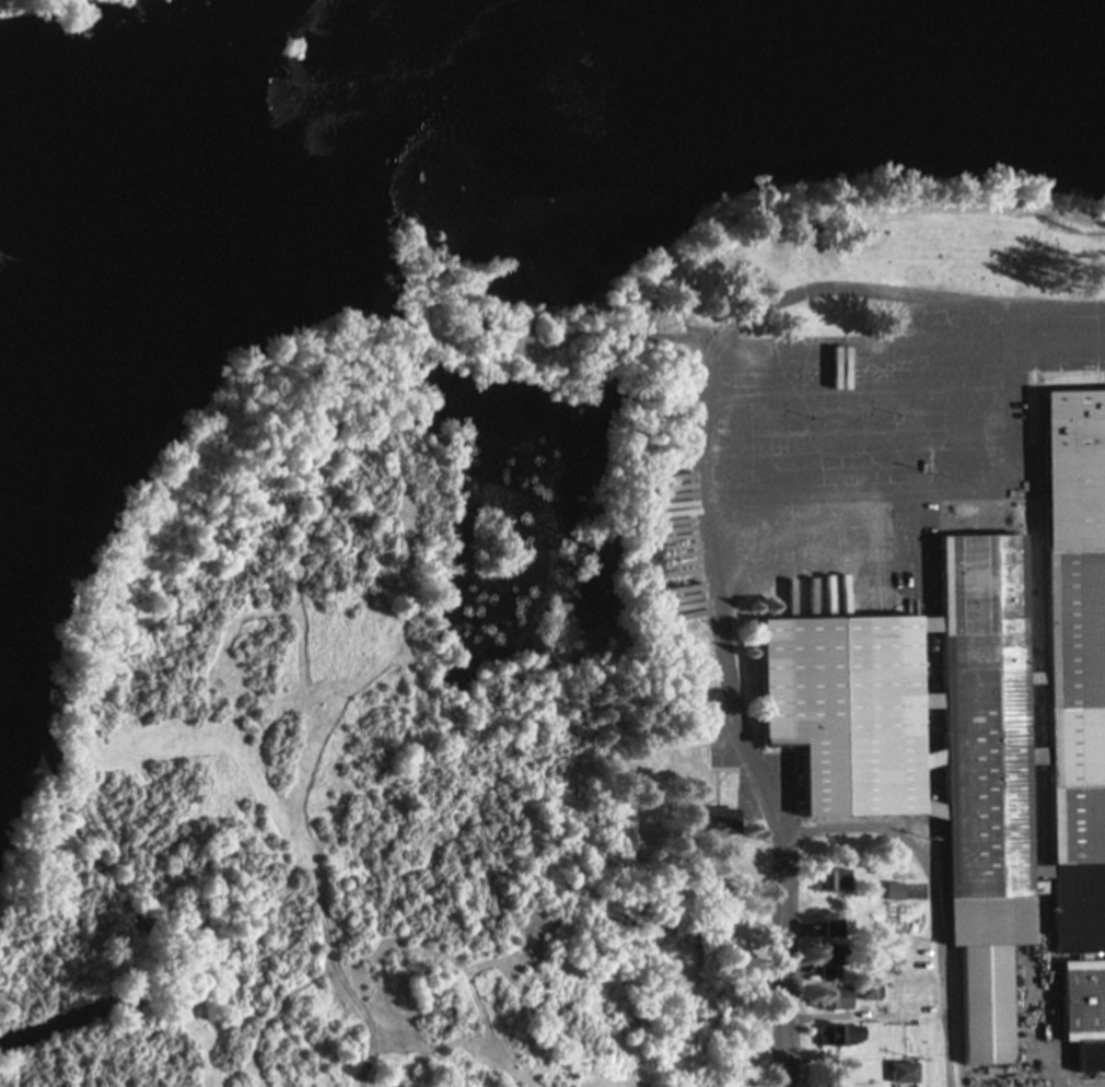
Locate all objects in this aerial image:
park: (104, 25)
river: (251, 255)
road: (896, 328)
road: (744, 386)
building: (982, 730)
building: (724, 821)
road: (775, 966)
building: (856, 995)
building: (1087, 1012)
building: (857, 1040)
building: (909, 1073)

